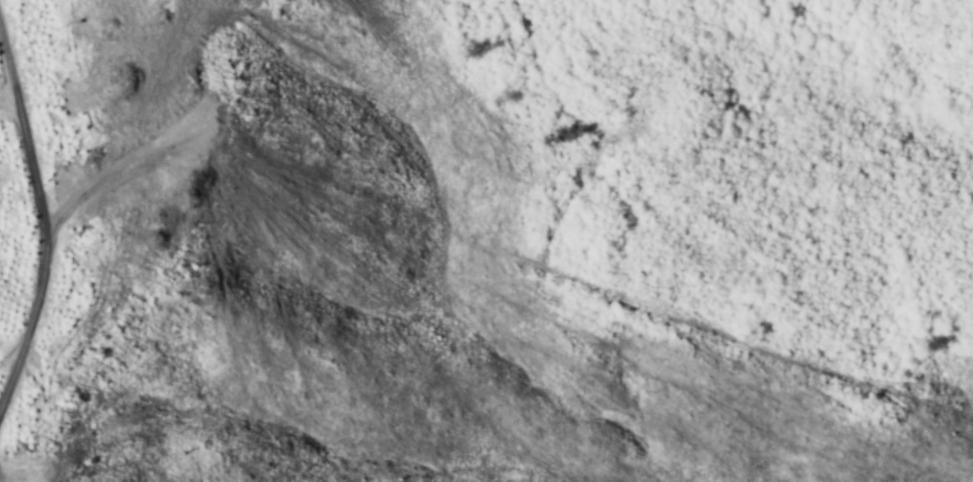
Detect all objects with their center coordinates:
road: (44, 214)

